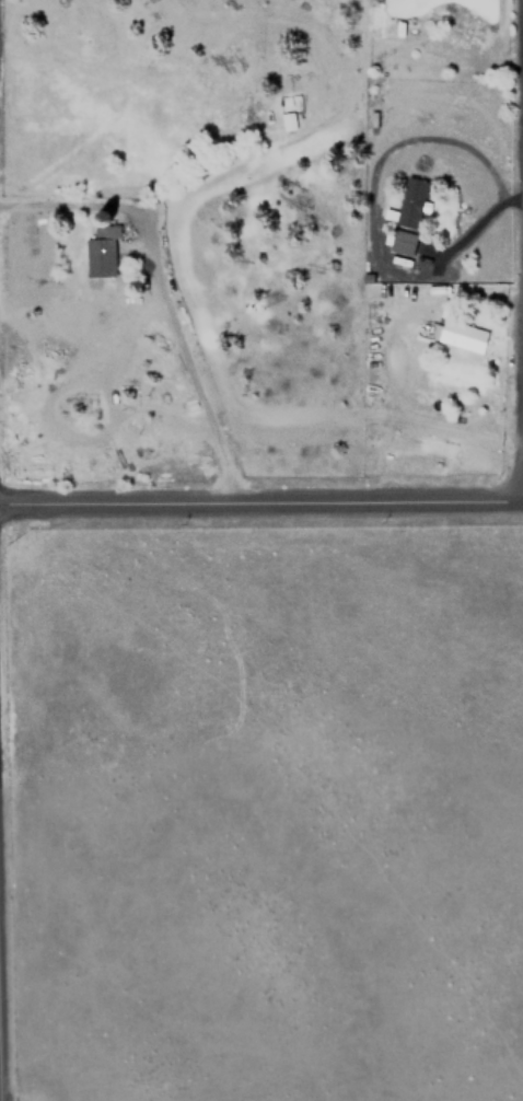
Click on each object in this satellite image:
building: (290, 121)
building: (410, 202)
building: (402, 242)
building: (101, 251)
road: (158, 293)
building: (463, 336)
road: (260, 503)
crop: (267, 819)

